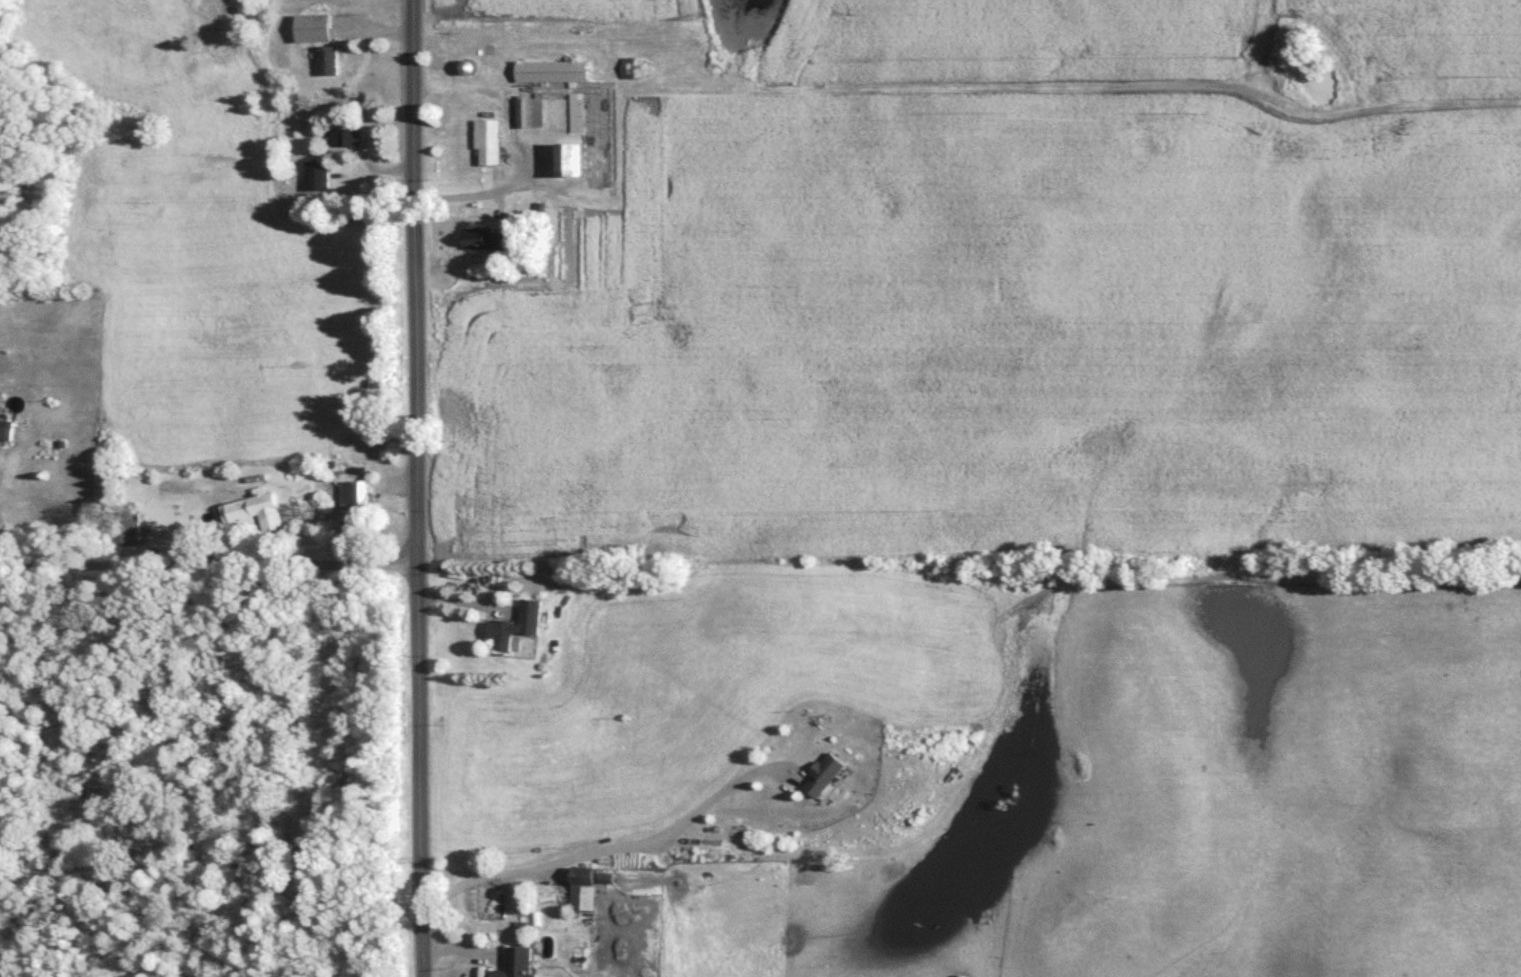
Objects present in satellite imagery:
building: (316, 29)
building: (332, 63)
building: (471, 68)
building: (555, 73)
building: (532, 114)
building: (579, 114)
building: (348, 139)
building: (490, 142)
building: (573, 161)
building: (320, 178)
road: (472, 195)
building: (487, 240)
building: (7, 429)
road: (397, 482)
road: (419, 488)
building: (358, 497)
building: (256, 512)
building: (134, 535)
road: (210, 564)
road: (799, 568)
road: (465, 600)
building: (517, 626)
building: (825, 775)
road: (907, 844)
road: (617, 849)
building: (589, 887)
road: (460, 947)
building: (517, 964)

